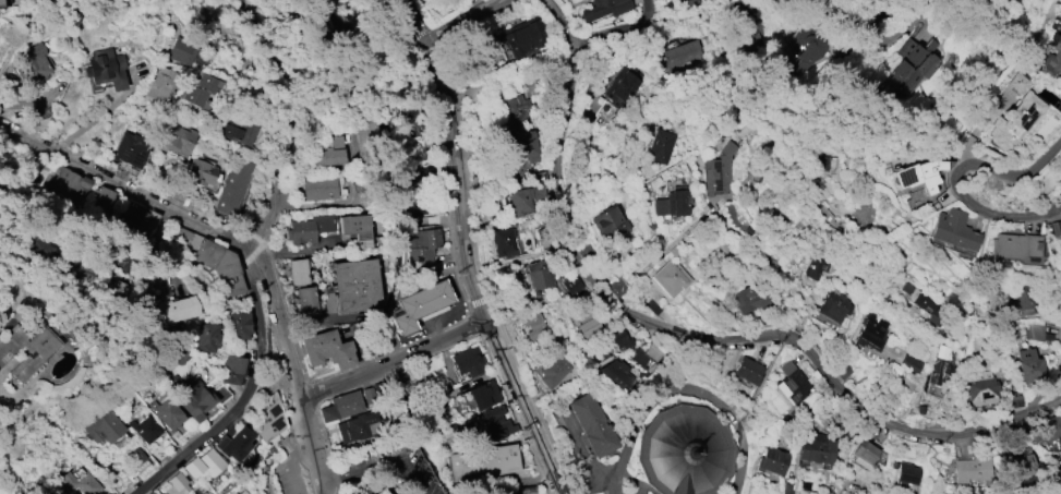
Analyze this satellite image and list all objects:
building: (694, 1)
building: (0, 4)
building: (604, 10)
road: (652, 12)
road: (458, 19)
road: (653, 25)
road: (873, 26)
park: (333, 38)
building: (526, 41)
building: (182, 50)
building: (811, 51)
building: (680, 56)
building: (1051, 60)
building: (34, 62)
building: (913, 63)
building: (105, 69)
road: (277, 70)
building: (160, 84)
building: (624, 86)
building: (201, 91)
road: (27, 101)
building: (1014, 112)
building: (515, 115)
road: (95, 117)
building: (238, 131)
building: (176, 137)
building: (367, 140)
building: (523, 146)
building: (660, 146)
building: (130, 149)
building: (328, 149)
building: (815, 164)
building: (718, 171)
building: (202, 172)
building: (917, 174)
building: (418, 178)
road: (938, 180)
building: (69, 182)
building: (232, 185)
building: (321, 189)
road: (128, 190)
building: (101, 200)
road: (275, 200)
building: (521, 201)
building: (418, 203)
building: (673, 203)
building: (137, 218)
building: (605, 226)
building: (308, 230)
building: (355, 230)
building: (953, 232)
building: (504, 244)
building: (1016, 245)
building: (421, 251)
road: (462, 251)
building: (220, 267)
building: (80, 269)
building: (817, 270)
building: (297, 272)
building: (539, 275)
building: (668, 279)
building: (111, 287)
building: (570, 287)
building: (351, 288)
building: (747, 298)
building: (305, 299)
building: (1022, 304)
building: (420, 306)
building: (833, 306)
building: (176, 309)
building: (587, 323)
building: (238, 325)
road: (280, 325)
building: (534, 327)
building: (872, 332)
building: (1034, 332)
road: (688, 334)
building: (206, 338)
building: (622, 338)
building: (32, 348)
building: (326, 350)
building: (644, 353)
road: (434, 354)
road: (394, 362)
building: (467, 362)
building: (909, 364)
building: (1026, 364)
building: (938, 366)
building: (230, 370)
building: (551, 370)
building: (748, 371)
building: (615, 374)
building: (792, 383)
road: (683, 389)
building: (980, 390)
road: (243, 395)
building: (480, 396)
building: (200, 398)
building: (341, 407)
building: (166, 413)
building: (268, 419)
building: (496, 423)
building: (592, 425)
building: (103, 426)
building: (354, 427)
building: (144, 429)
building: (1046, 429)
road: (308, 439)
building: (234, 444)
building: (816, 448)
building: (684, 450)
building: (864, 454)
building: (137, 456)
building: (1018, 460)
building: (772, 461)
road: (376, 462)
building: (482, 462)
building: (203, 463)
road: (286, 463)
building: (965, 471)
building: (905, 473)
building: (80, 481)
building: (176, 484)
road: (322, 486)
building: (528, 490)
building: (379, 491)
building: (231, 492)
building: (242, 492)

